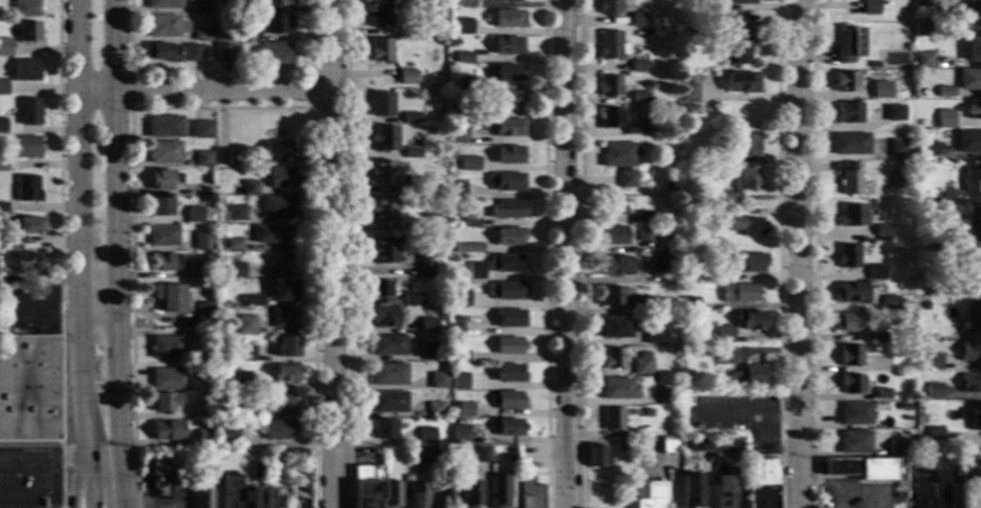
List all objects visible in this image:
building: (506, 0)
building: (739, 2)
building: (275, 3)
building: (922, 3)
building: (163, 4)
building: (465, 4)
building: (708, 5)
building: (201, 6)
building: (224, 6)
building: (607, 7)
building: (26, 8)
building: (870, 8)
building: (379, 14)
building: (637, 16)
building: (508, 18)
building: (708, 18)
building: (968, 18)
building: (276, 24)
building: (165, 26)
building: (463, 26)
building: (922, 28)
building: (28, 32)
building: (223, 33)
building: (202, 34)
building: (736, 41)
building: (508, 45)
building: (611, 45)
road: (78, 46)
building: (849, 46)
building: (2, 48)
building: (379, 50)
building: (974, 50)
building: (162, 52)
building: (223, 52)
building: (191, 53)
building: (273, 53)
building: (463, 57)
building: (924, 60)
building: (874, 65)
building: (637, 66)
building: (26, 70)
road: (218, 73)
building: (505, 73)
building: (405, 76)
building: (969, 79)
building: (463, 82)
building: (742, 82)
building: (846, 82)
building: (608, 86)
building: (3, 88)
road: (310, 90)
building: (881, 90)
road: (130, 91)
road: (203, 92)
building: (689, 92)
building: (945, 92)
building: (639, 97)
building: (505, 100)
building: (380, 103)
road: (220, 108)
building: (690, 109)
building: (455, 110)
building: (974, 110)
building: (29, 112)
building: (849, 112)
building: (894, 113)
building: (409, 117)
building: (610, 117)
building: (946, 119)
building: (930, 123)
building: (2, 125)
building: (647, 126)
building: (164, 127)
building: (505, 127)
building: (201, 128)
building: (456, 132)
building: (918, 136)
building: (383, 138)
building: (969, 142)
building: (746, 144)
building: (851, 144)
building: (26, 147)
building: (899, 148)
road: (113, 149)
building: (927, 149)
building: (163, 152)
building: (277, 152)
building: (410, 152)
building: (508, 154)
building: (714, 154)
building: (227, 157)
building: (202, 158)
building: (620, 161)
building: (468, 163)
building: (3, 166)
building: (380, 172)
building: (919, 173)
building: (449, 175)
building: (972, 177)
building: (282, 178)
building: (849, 178)
building: (163, 179)
building: (898, 180)
building: (505, 181)
building: (415, 184)
building: (743, 184)
building: (439, 187)
building: (248, 188)
building: (27, 189)
building: (207, 190)
building: (455, 190)
road: (79, 197)
building: (440, 197)
building: (613, 205)
building: (159, 207)
building: (276, 207)
building: (2, 208)
building: (381, 209)
building: (506, 209)
building: (235, 213)
building: (194, 215)
building: (852, 216)
building: (646, 217)
building: (470, 221)
building: (974, 224)
building: (29, 226)
building: (752, 227)
building: (881, 230)
building: (440, 231)
building: (271, 234)
building: (644, 234)
building: (508, 235)
building: (613, 235)
building: (163, 236)
building: (7, 241)
building: (203, 241)
building: (931, 241)
building: (232, 245)
building: (474, 248)
building: (461, 249)
building: (382, 250)
road: (59, 253)
road: (330, 253)
road: (563, 253)
road: (346, 254)
road: (544, 254)
road: (580, 254)
road: (778, 254)
road: (797, 254)
road: (813, 254)
building: (847, 256)
building: (451, 259)
building: (28, 262)
building: (163, 262)
building: (281, 262)
building: (747, 262)
building: (661, 263)
building: (423, 264)
building: (506, 264)
building: (618, 265)
building: (971, 266)
building: (203, 268)
building: (475, 270)
building: (234, 271)
building: (875, 272)
building: (712, 273)
building: (220, 276)
building: (937, 286)
building: (379, 289)
building: (282, 290)
building: (506, 290)
building: (740, 293)
building: (851, 293)
building: (613, 296)
building: (171, 297)
building: (408, 297)
building: (458, 297)
road: (99, 300)
building: (252, 301)
building: (890, 302)
building: (690, 303)
building: (639, 304)
building: (204, 314)
building: (975, 315)
building: (384, 317)
building: (457, 317)
building: (283, 318)
building: (510, 318)
building: (752, 320)
building: (849, 323)
building: (244, 324)
building: (427, 325)
building: (618, 327)
building: (454, 328)
building: (652, 334)
building: (725, 334)
building: (878, 338)
building: (387, 344)
building: (506, 344)
building: (285, 346)
building: (167, 347)
building: (429, 351)
building: (971, 352)
building: (244, 354)
building: (724, 355)
building: (459, 356)
building: (850, 356)
building: (612, 358)
building: (932, 362)
building: (640, 364)
building: (882, 366)
building: (454, 368)
building: (205, 373)
building: (283, 373)
building: (507, 373)
building: (387, 374)
building: (751, 374)
road: (81, 377)
building: (168, 380)
building: (436, 380)
building: (239, 381)
building: (458, 381)
building: (970, 382)
building: (850, 384)
building: (617, 388)
building: (226, 389)
building: (29, 392)
building: (882, 393)
building: (934, 393)
building: (665, 395)
building: (507, 399)
building: (166, 401)
building: (281, 402)
building: (388, 402)
road: (120, 403)
building: (903, 407)
building: (434, 408)
building: (205, 409)
building: (463, 409)
building: (232, 410)
building: (629, 411)
road: (745, 413)
building: (854, 414)
building: (975, 416)
building: (612, 418)
building: (509, 426)
building: (382, 429)
building: (168, 430)
building: (277, 430)
building: (458, 434)
building: (425, 435)
building: (934, 435)
building: (226, 436)
building: (205, 438)
building: (482, 438)
building: (621, 442)
building: (701, 443)
building: (855, 443)
building: (669, 445)
building: (732, 445)
building: (896, 448)
building: (402, 450)
building: (441, 453)
building: (298, 454)
building: (423, 454)
building: (481, 454)
building: (509, 454)
road: (71, 456)
building: (595, 456)
road: (28, 458)
building: (457, 459)
building: (283, 460)
building: (861, 469)
building: (256, 470)
building: (968, 471)
building: (210, 472)
parking lot: (22, 479)
road: (74, 479)
building: (159, 479)
road: (91, 481)
building: (764, 482)
building: (932, 485)
building: (366, 486)
building: (470, 489)
building: (230, 490)
building: (498, 490)
building: (691, 490)
building: (724, 491)
building: (529, 493)
building: (648, 493)
road: (43, 494)
building: (391, 494)
building: (444, 494)
building: (417, 495)
building: (248, 497)
building: (202, 498)
building: (272, 498)
building: (972, 501)
building: (299, 502)

